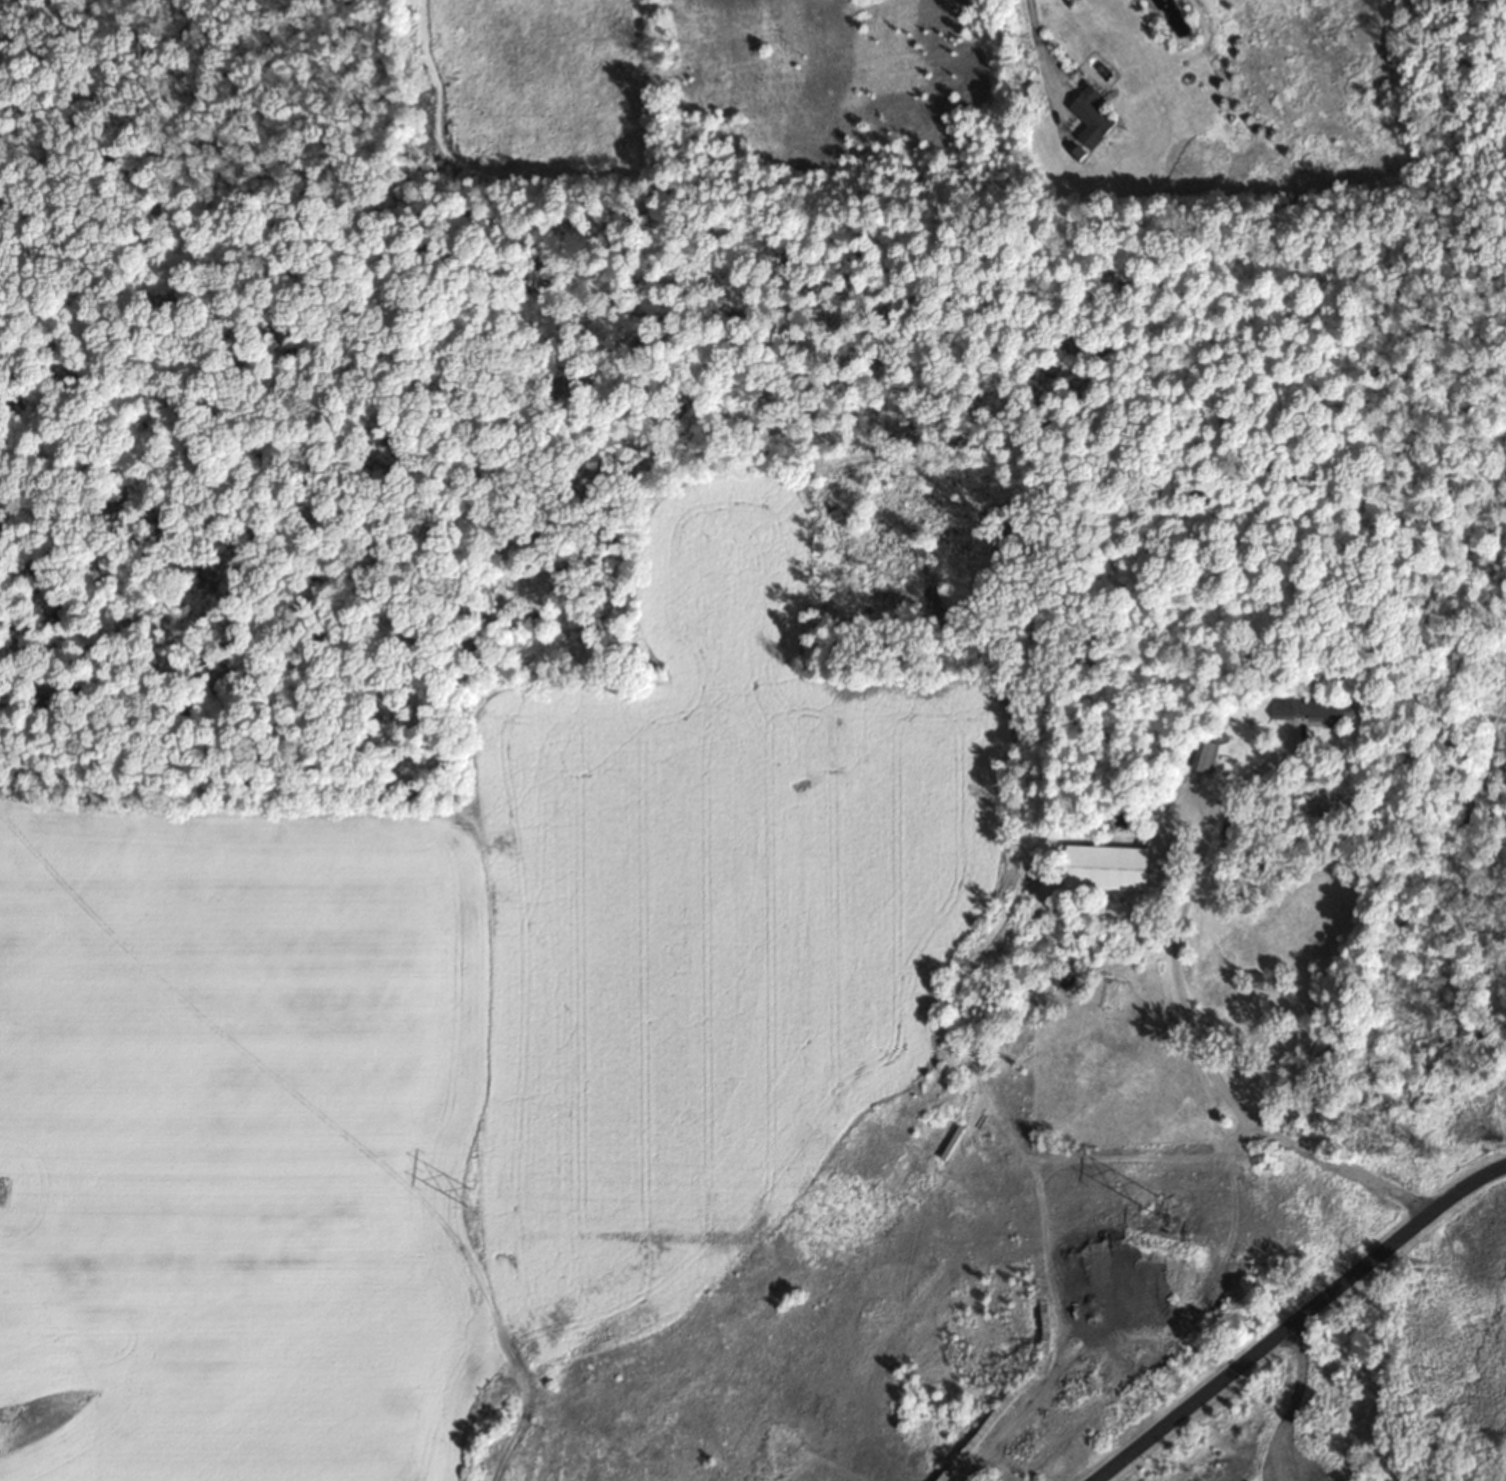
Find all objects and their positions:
building: (1094, 116)
building: (1315, 707)
building: (1202, 753)
building: (1110, 866)
road: (1187, 1017)
power tower: (0, 1189)
power tower: (464, 1196)
power tower: (1157, 1202)
road: (1298, 1319)
road: (514, 1429)

